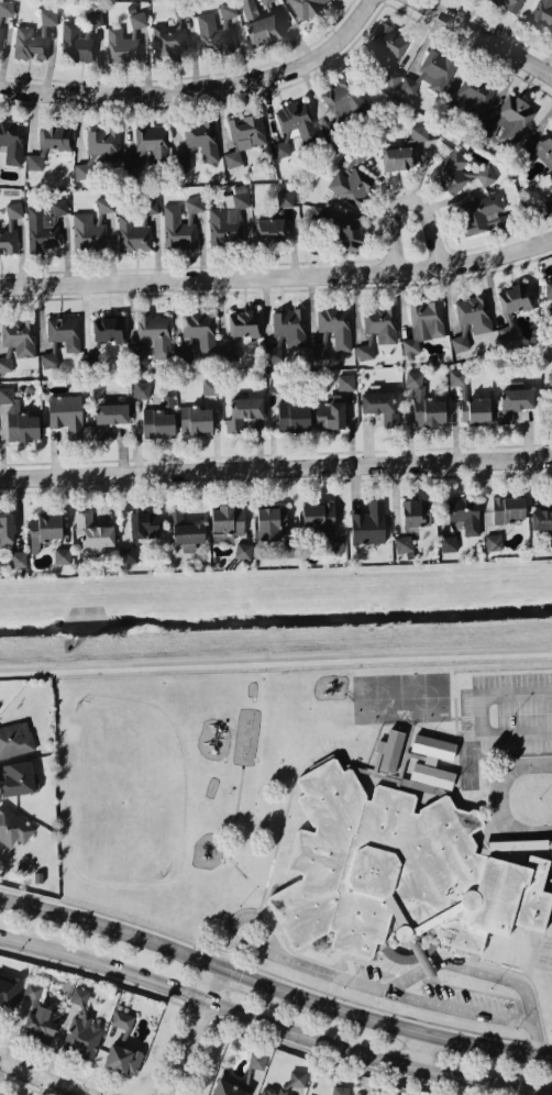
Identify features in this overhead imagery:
building: (268, 2)
building: (509, 3)
building: (7, 7)
building: (306, 7)
building: (542, 13)
building: (137, 19)
building: (260, 24)
building: (216, 29)
building: (170, 33)
road: (490, 33)
building: (0, 37)
building: (34, 37)
building: (75, 42)
building: (121, 45)
building: (387, 51)
building: (431, 73)
road: (201, 86)
building: (475, 96)
building: (343, 98)
building: (509, 120)
building: (294, 126)
building: (247, 131)
building: (419, 132)
building: (55, 136)
building: (202, 139)
building: (12, 141)
building: (102, 144)
building: (148, 146)
building: (545, 151)
building: (397, 157)
building: (233, 161)
building: (35, 162)
building: (181, 163)
building: (81, 170)
building: (551, 176)
building: (284, 201)
building: (104, 204)
building: (549, 206)
building: (481, 212)
building: (319, 214)
building: (229, 218)
building: (45, 224)
building: (180, 224)
building: (136, 225)
building: (10, 229)
building: (271, 229)
building: (88, 231)
road: (431, 231)
building: (349, 234)
road: (277, 276)
building: (548, 287)
building: (515, 297)
building: (474, 312)
building: (380, 322)
building: (244, 323)
building: (423, 324)
building: (289, 325)
building: (335, 325)
building: (108, 328)
building: (200, 329)
building: (508, 330)
building: (64, 331)
building: (19, 336)
building: (153, 336)
building: (460, 342)
building: (319, 349)
building: (230, 350)
building: (365, 351)
building: (274, 353)
building: (49, 356)
building: (5, 364)
building: (551, 374)
building: (456, 376)
building: (345, 381)
building: (275, 384)
building: (210, 386)
building: (141, 388)
building: (423, 401)
building: (514, 402)
building: (380, 406)
building: (243, 411)
building: (66, 413)
building: (330, 414)
building: (294, 417)
building: (19, 418)
building: (108, 418)
building: (196, 419)
building: (157, 423)
road: (275, 463)
building: (508, 509)
building: (416, 512)
building: (465, 512)
building: (318, 516)
building: (541, 518)
building: (227, 522)
building: (271, 522)
building: (144, 523)
building: (368, 523)
building: (185, 528)
building: (44, 529)
building: (92, 530)
building: (5, 532)
building: (494, 541)
building: (404, 543)
building: (449, 543)
building: (333, 544)
building: (290, 549)
building: (243, 550)
building: (129, 554)
building: (62, 555)
building: (18, 557)
river: (276, 620)
road: (276, 657)
road: (477, 715)
building: (15, 739)
building: (432, 748)
building: (388, 751)
building: (432, 775)
building: (16, 777)
road: (496, 800)
building: (12, 827)
building: (398, 873)
road: (244, 915)
road: (405, 978)
road: (273, 985)
building: (32, 989)
building: (8, 992)
road: (457, 1008)
building: (41, 1024)
road: (269, 1026)
building: (82, 1028)
road: (190, 1029)
building: (123, 1047)
road: (419, 1051)
building: (257, 1060)
road: (43, 1076)
building: (297, 1077)
building: (230, 1087)
building: (340, 1090)
building: (269, 1092)

